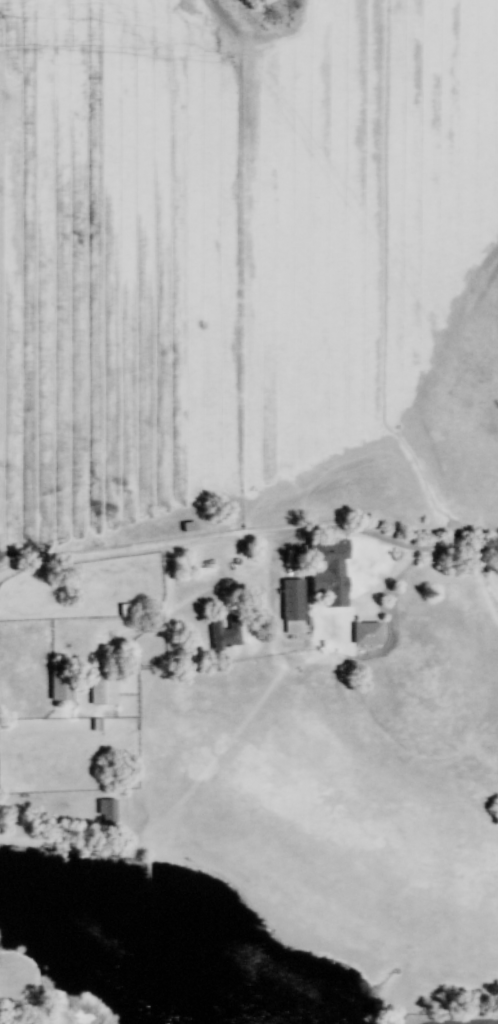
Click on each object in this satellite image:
road: (318, 528)
building: (328, 570)
building: (293, 606)
building: (224, 633)
building: (366, 633)
building: (58, 680)
building: (102, 687)
building: (107, 811)
road: (473, 1023)

